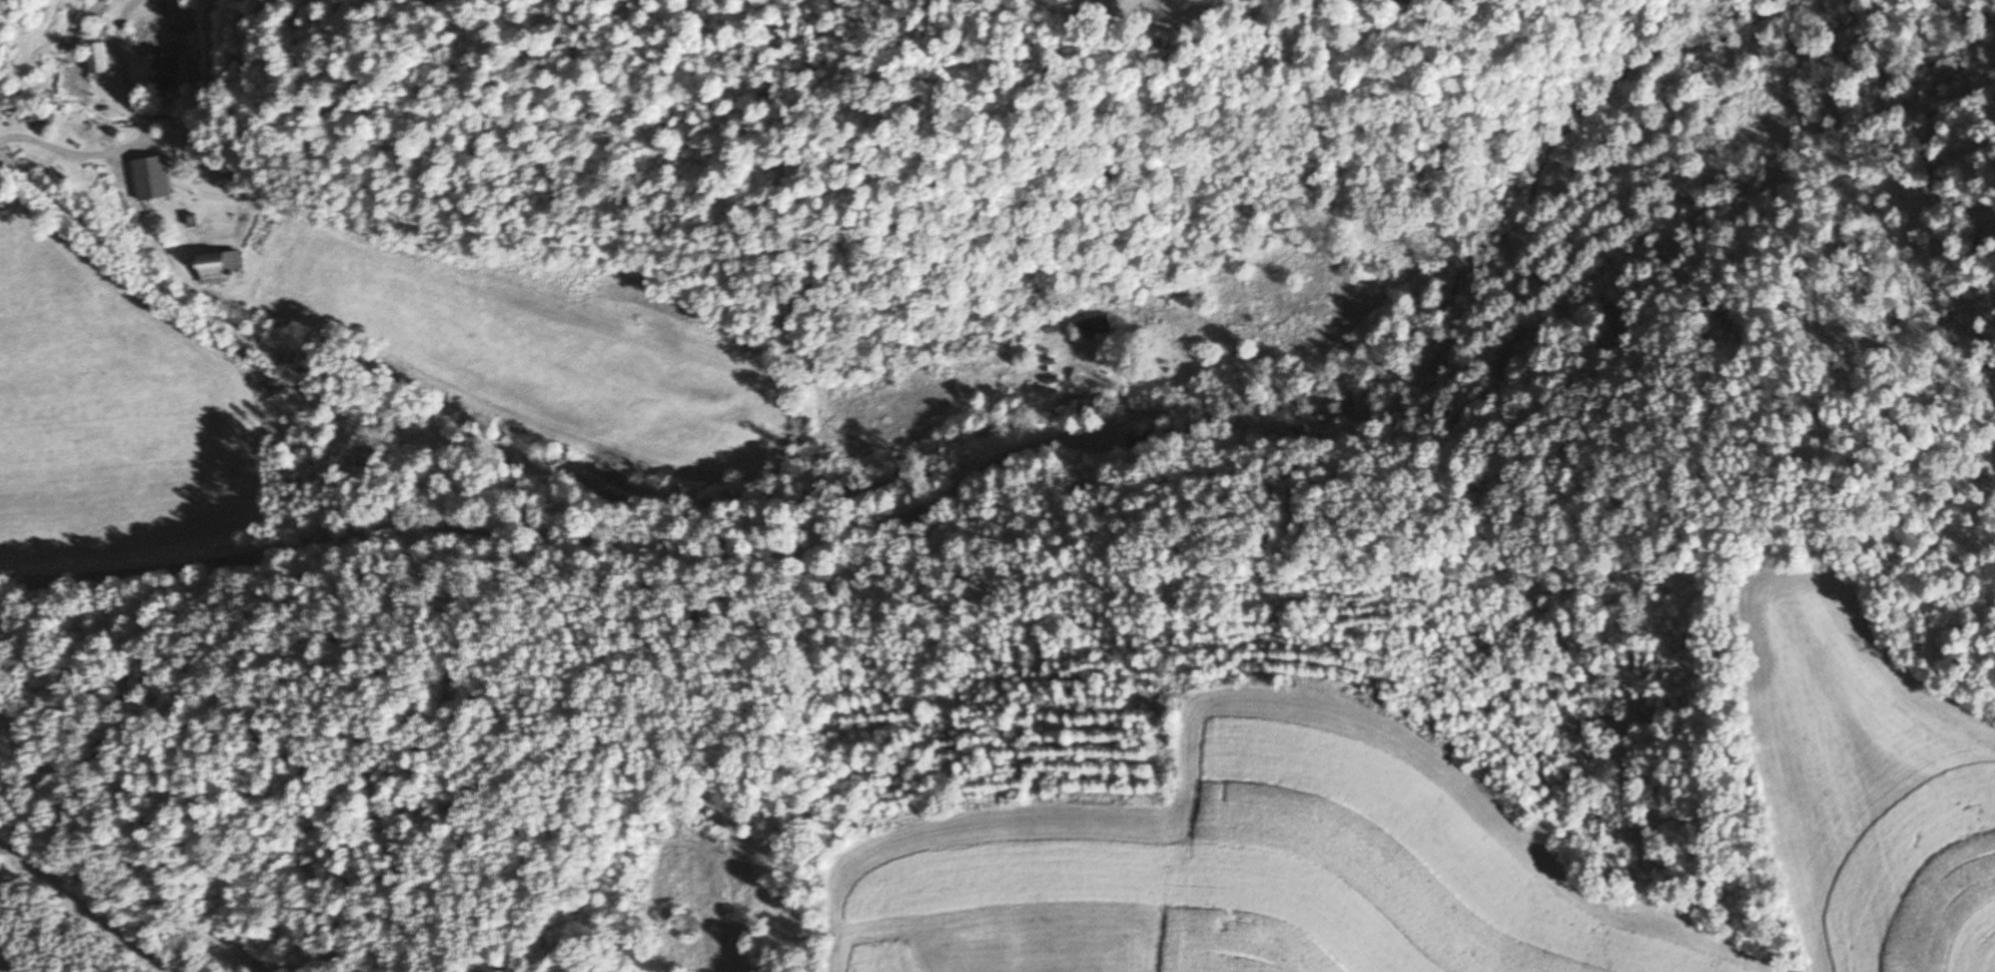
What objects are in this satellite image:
crop: (1151, 7)
building: (99, 59)
building: (168, 73)
road: (92, 154)
building: (153, 179)
building: (221, 267)
building: (1096, 326)
road: (568, 534)
crop: (1874, 792)
crop: (1265, 870)
road: (87, 903)

